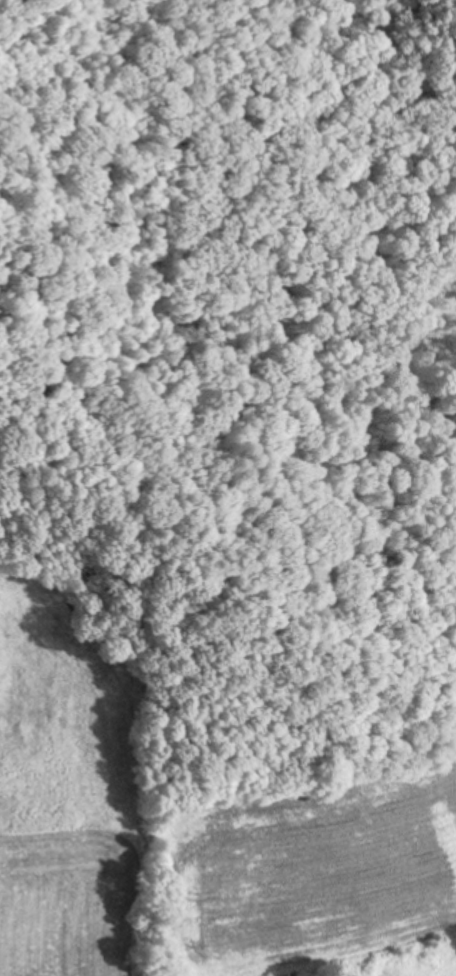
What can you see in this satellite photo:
crop: (312, 873)
crop: (78, 906)

